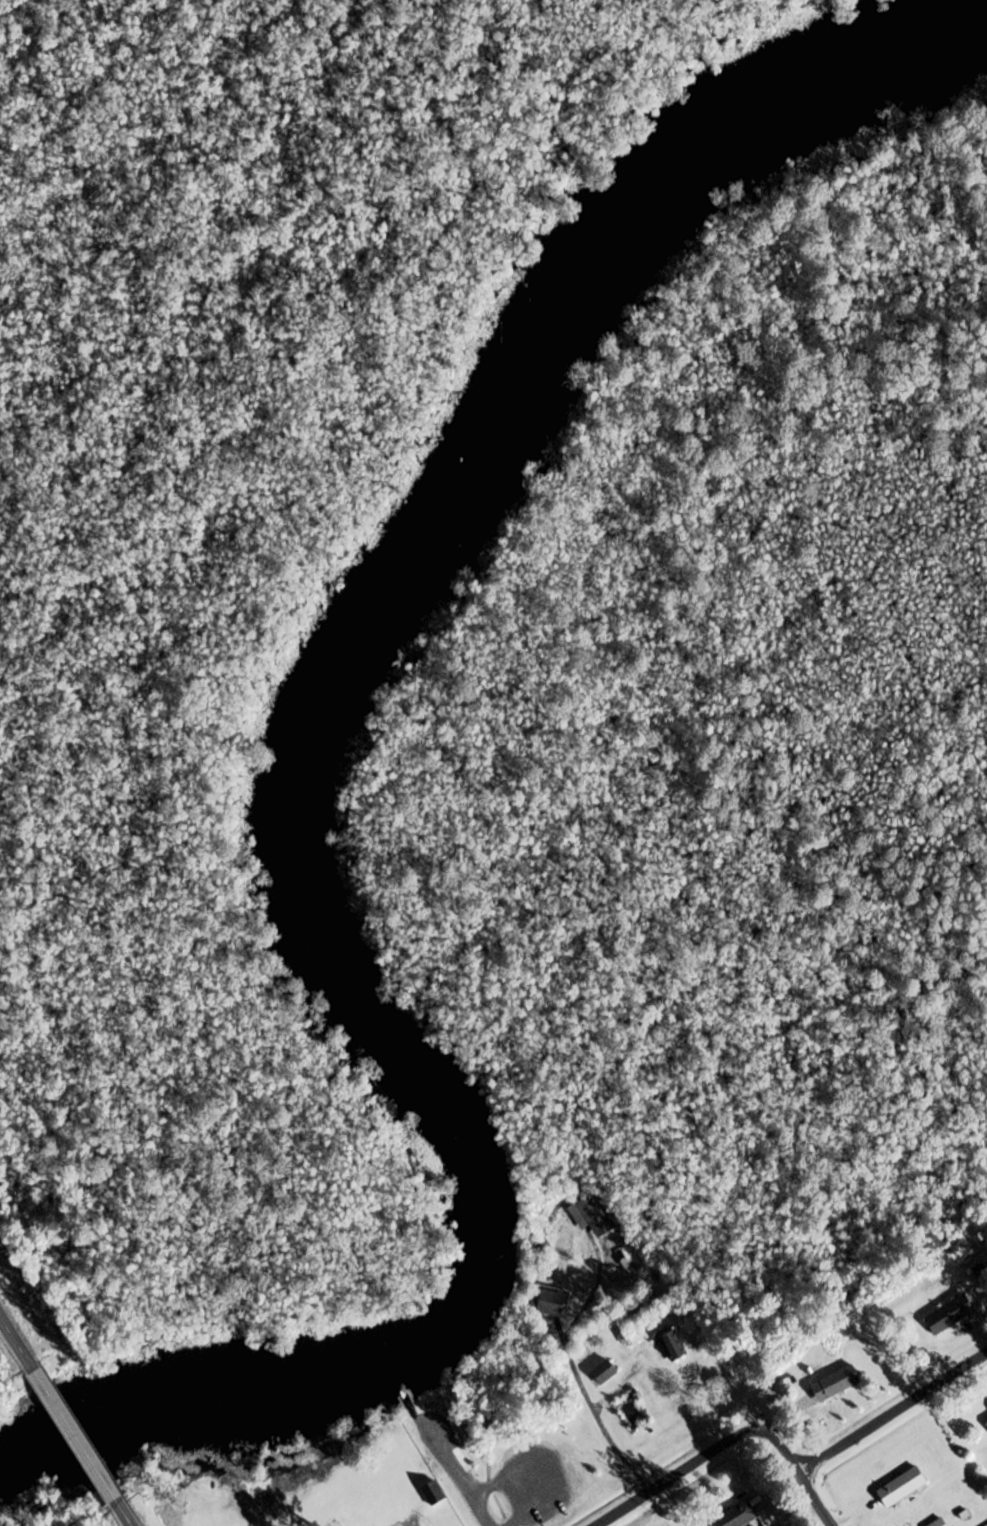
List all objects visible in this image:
building: (592, 1215)
building: (549, 1301)
building: (950, 1314)
road: (16, 1346)
building: (671, 1347)
building: (603, 1372)
road: (578, 1378)
building: (836, 1383)
road: (614, 1388)
road: (894, 1410)
road: (73, 1435)
road: (702, 1458)
road: (457, 1481)
building: (901, 1487)
road: (816, 1498)
road: (122, 1513)
building: (735, 1516)
building: (937, 1523)

